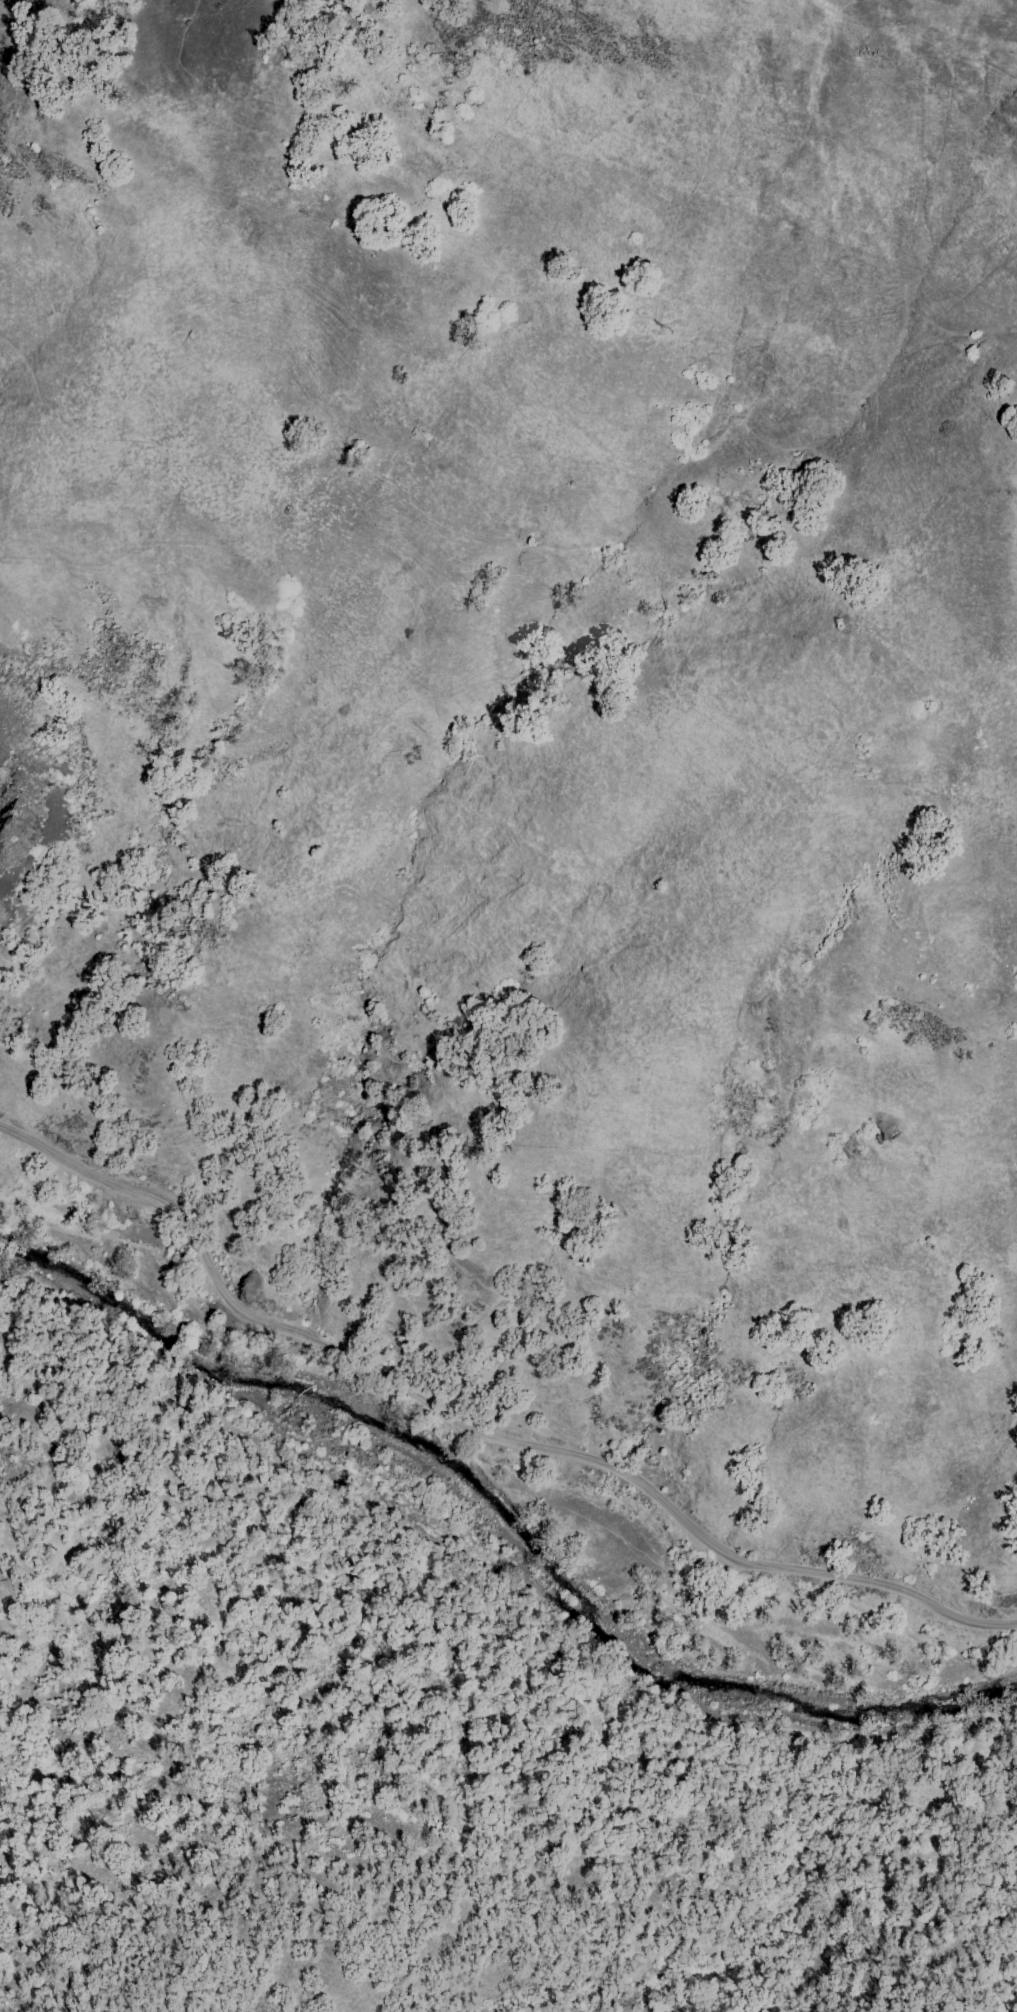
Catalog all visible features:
road: (479, 1433)
river: (513, 1502)

